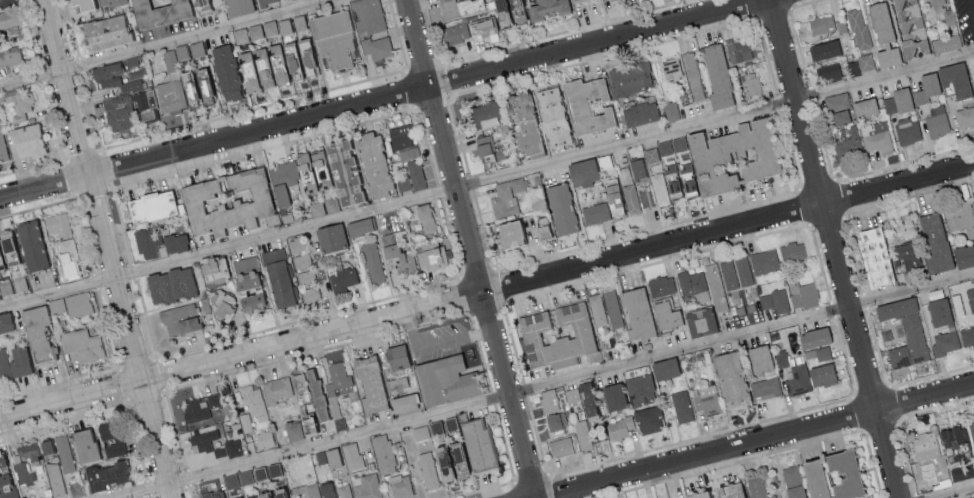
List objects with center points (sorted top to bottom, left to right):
building: (602, 0)
building: (575, 1)
building: (266, 2)
road: (803, 3)
building: (80, 4)
building: (938, 5)
building: (200, 6)
building: (237, 7)
building: (457, 8)
road: (754, 8)
building: (546, 9)
road: (778, 11)
building: (153, 12)
building: (506, 12)
road: (970, 12)
building: (368, 16)
building: (10, 17)
building: (840, 24)
building: (821, 25)
building: (482, 27)
building: (269, 28)
building: (859, 28)
road: (71, 29)
building: (911, 29)
road: (431, 31)
road: (563, 31)
building: (104, 32)
building: (247, 33)
road: (30, 34)
building: (454, 34)
road: (398, 35)
building: (883, 35)
building: (332, 39)
road: (166, 43)
building: (945, 43)
building: (377, 47)
road: (799, 47)
building: (188, 50)
building: (737, 50)
building: (823, 50)
building: (9, 56)
road: (604, 56)
road: (768, 58)
building: (298, 59)
building: (170, 61)
building: (866, 61)
road: (81, 65)
road: (424, 67)
building: (671, 68)
building: (854, 68)
building: (829, 72)
building: (225, 73)
road: (42, 75)
building: (693, 75)
building: (717, 75)
building: (113, 78)
building: (630, 78)
road: (445, 79)
building: (954, 80)
building: (751, 83)
building: (205, 86)
building: (926, 88)
road: (412, 90)
road: (812, 94)
building: (173, 95)
road: (382, 99)
building: (901, 99)
building: (836, 101)
road: (433, 102)
building: (17, 103)
road: (779, 103)
building: (586, 105)
building: (888, 105)
road: (254, 108)
building: (864, 108)
building: (671, 111)
road: (93, 112)
building: (639, 113)
building: (485, 114)
building: (965, 116)
building: (551, 117)
building: (838, 118)
road: (54, 121)
building: (937, 121)
building: (523, 123)
building: (908, 130)
building: (400, 136)
building: (876, 136)
road: (459, 137)
building: (25, 141)
road: (823, 141)
building: (849, 144)
road: (427, 146)
building: (664, 147)
building: (2, 149)
road: (263, 149)
building: (484, 149)
road: (791, 149)
road: (100, 153)
building: (408, 153)
building: (651, 154)
building: (718, 161)
road: (904, 163)
building: (373, 164)
road: (34, 166)
building: (638, 169)
building: (582, 172)
building: (321, 173)
building: (416, 175)
road: (486, 179)
building: (403, 183)
road: (471, 183)
road: (817, 184)
road: (439, 191)
building: (647, 194)
building: (507, 196)
road: (907, 197)
building: (630, 198)
road: (838, 198)
building: (226, 200)
building: (973, 201)
building: (150, 205)
building: (604, 206)
road: (805, 206)
road: (39, 207)
building: (316, 208)
building: (560, 209)
building: (425, 217)
building: (960, 217)
road: (826, 220)
building: (56, 223)
road: (122, 225)
building: (358, 225)
road: (483, 229)
road: (647, 229)
building: (543, 232)
building: (330, 235)
building: (508, 235)
road: (83, 236)
road: (451, 237)
building: (933, 240)
building: (147, 242)
building: (175, 242)
building: (30, 243)
road: (834, 248)
building: (6, 249)
road: (106, 249)
road: (472, 249)
building: (792, 251)
building: (963, 254)
building: (430, 255)
road: (853, 255)
building: (874, 255)
building: (905, 255)
building: (397, 256)
building: (68, 257)
building: (372, 260)
building: (764, 260)
road: (654, 262)
road: (820, 262)
building: (213, 267)
building: (244, 270)
building: (743, 270)
road: (134, 271)
road: (477, 272)
building: (729, 274)
building: (277, 276)
building: (342, 278)
road: (95, 281)
building: (19, 283)
building: (170, 284)
building: (693, 284)
building: (662, 285)
building: (716, 286)
building: (5, 287)
road: (498, 288)
road: (486, 290)
building: (310, 293)
building: (802, 294)
road: (466, 296)
building: (775, 300)
building: (250, 301)
road: (866, 301)
building: (971, 302)
building: (78, 304)
building: (57, 305)
building: (613, 308)
building: (222, 309)
building: (598, 309)
road: (832, 309)
building: (938, 311)
road: (488, 312)
building: (637, 312)
building: (666, 315)
road: (309, 317)
building: (180, 318)
road: (147, 320)
building: (6, 321)
building: (700, 321)
building: (906, 324)
road: (107, 328)
building: (582, 332)
building: (38, 334)
building: (813, 336)
building: (967, 336)
building: (945, 341)
building: (83, 343)
road: (436, 343)
road: (513, 345)
road: (320, 349)
road: (481, 353)
building: (818, 353)
building: (395, 356)
building: (898, 356)
building: (759, 357)
building: (781, 359)
building: (14, 361)
road: (154, 361)
building: (663, 368)
building: (808, 377)
building: (443, 379)
building: (731, 379)
road: (60, 382)
building: (299, 382)
building: (397, 383)
building: (370, 384)
road: (542, 385)
road: (890, 385)
road: (892, 385)
building: (766, 387)
building: (277, 388)
building: (639, 388)
building: (338, 389)
road: (525, 390)
building: (612, 395)
building: (318, 397)
road: (493, 398)
building: (583, 398)
building: (549, 400)
building: (708, 400)
building: (253, 401)
building: (402, 402)
building: (681, 406)
building: (200, 407)
road: (859, 414)
road: (63, 418)
building: (647, 419)
road: (900, 419)
building: (246, 421)
building: (552, 422)
road: (745, 425)
road: (881, 426)
building: (433, 427)
building: (619, 427)
road: (176, 428)
building: (971, 428)
building: (292, 430)
building: (583, 434)
road: (537, 435)
building: (952, 436)
road: (135, 438)
building: (264, 438)
building: (108, 439)
building: (202, 440)
road: (761, 442)
building: (924, 442)
building: (475, 443)
road: (504, 443)
building: (82, 444)
building: (46, 445)
building: (601, 445)
building: (560, 446)
building: (233, 447)
building: (220, 451)
building: (383, 453)
building: (351, 455)
building: (320, 456)
building: (331, 457)
building: (25, 461)
road: (730, 462)
road: (873, 465)
building: (428, 469)
building: (843, 472)
building: (962, 472)
building: (107, 474)
building: (251, 474)
road: (553, 474)
building: (791, 474)
road: (188, 477)
road: (531, 477)
building: (54, 478)
building: (812, 478)
building: (5, 479)
building: (75, 486)
building: (367, 486)
building: (400, 486)
road: (555, 486)
road: (148, 487)
building: (757, 487)
building: (320, 489)
road: (481, 489)
road: (516, 489)
road: (192, 491)
building: (344, 491)
building: (794, 491)
building: (715, 492)
road: (951, 492)
building: (209, 493)
road: (915, 495)
road: (151, 496)
building: (972, 497)

